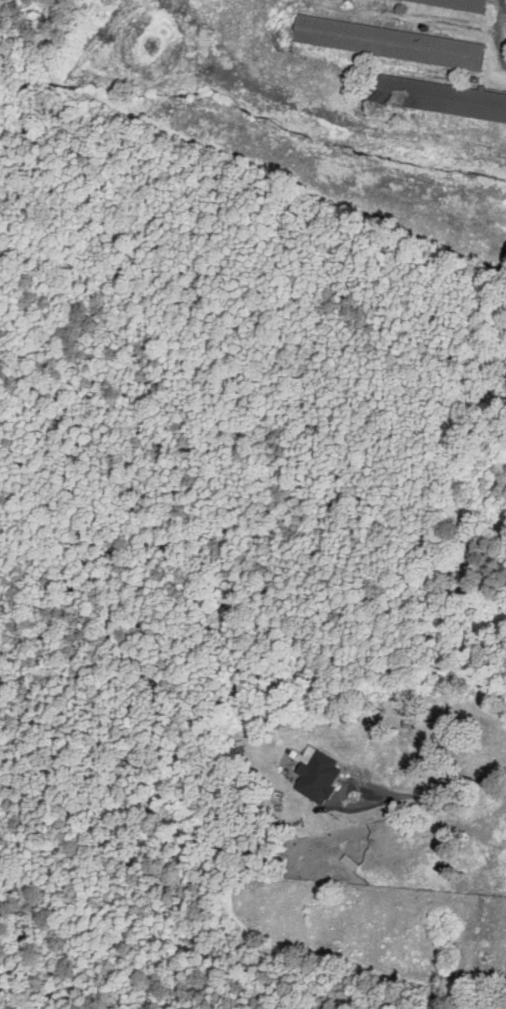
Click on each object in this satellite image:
building: (456, 3)
building: (385, 42)
building: (435, 97)
building: (323, 776)
road: (440, 786)
road: (341, 796)

